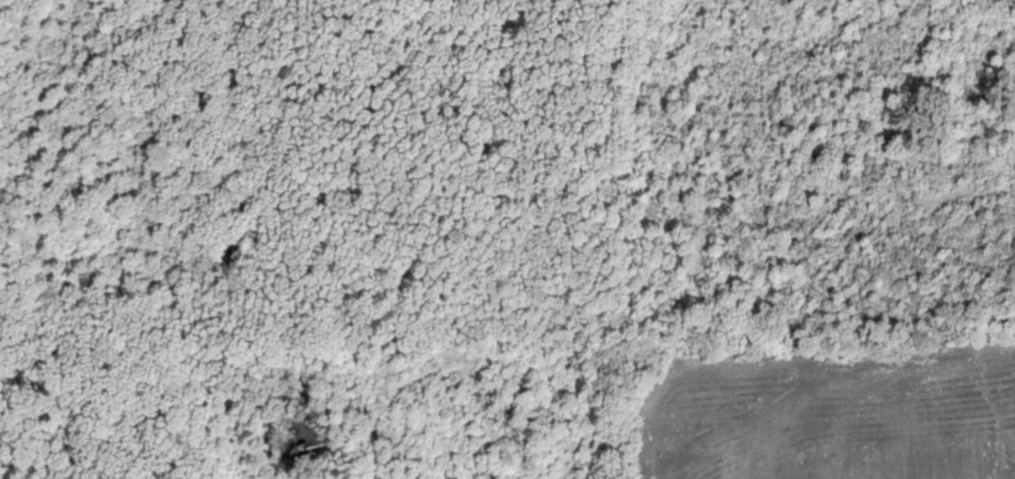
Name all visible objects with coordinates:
crop: (840, 419)

